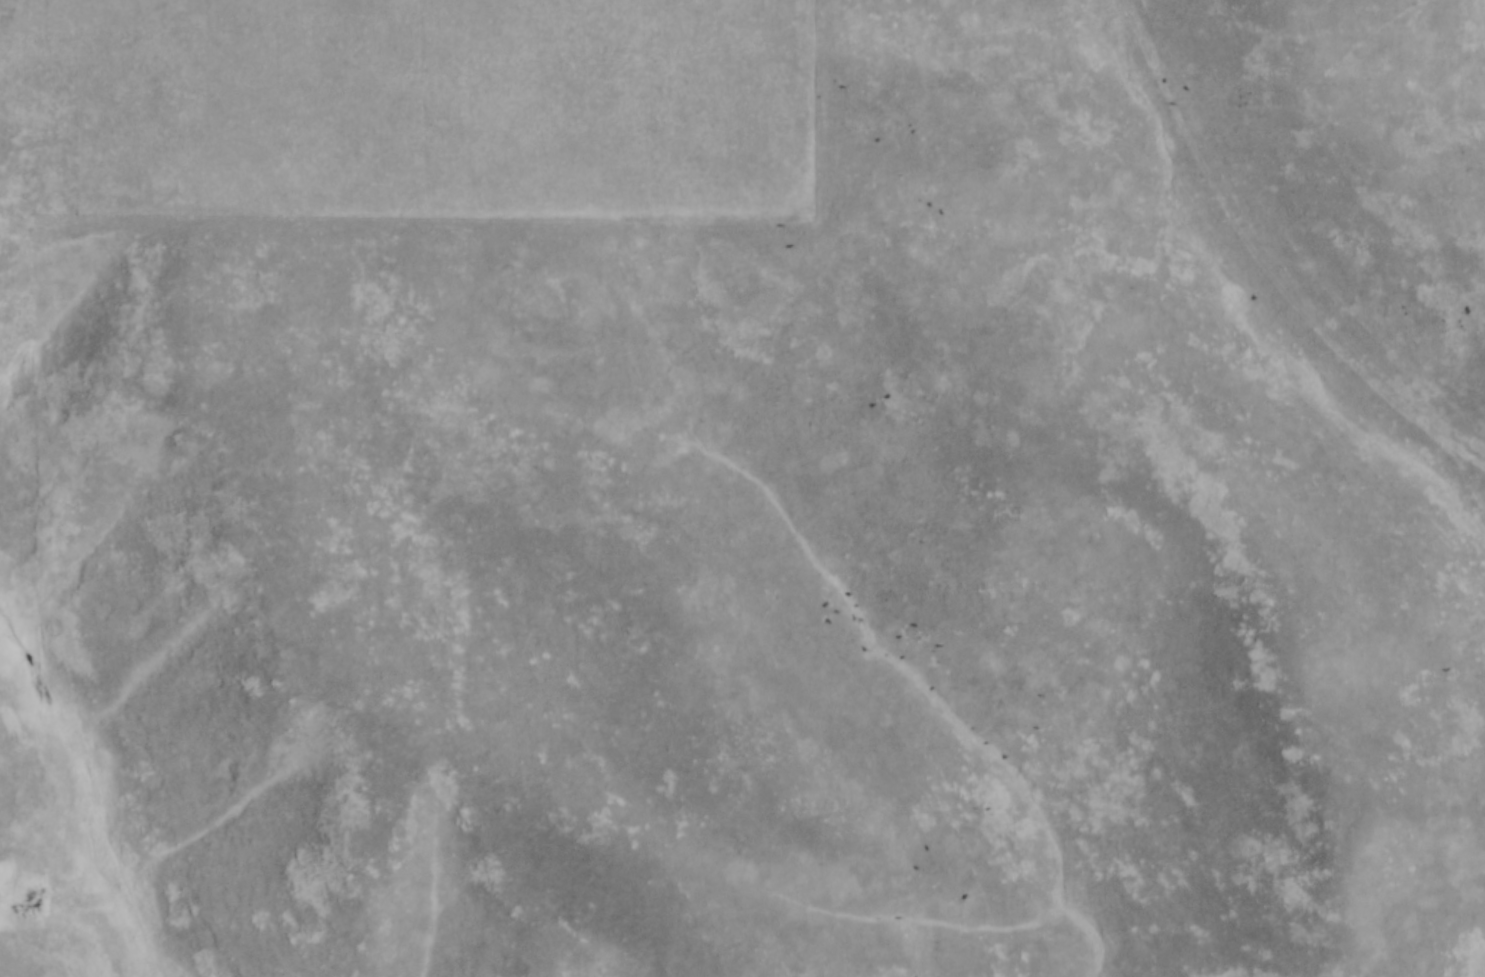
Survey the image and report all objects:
road: (1232, 278)

